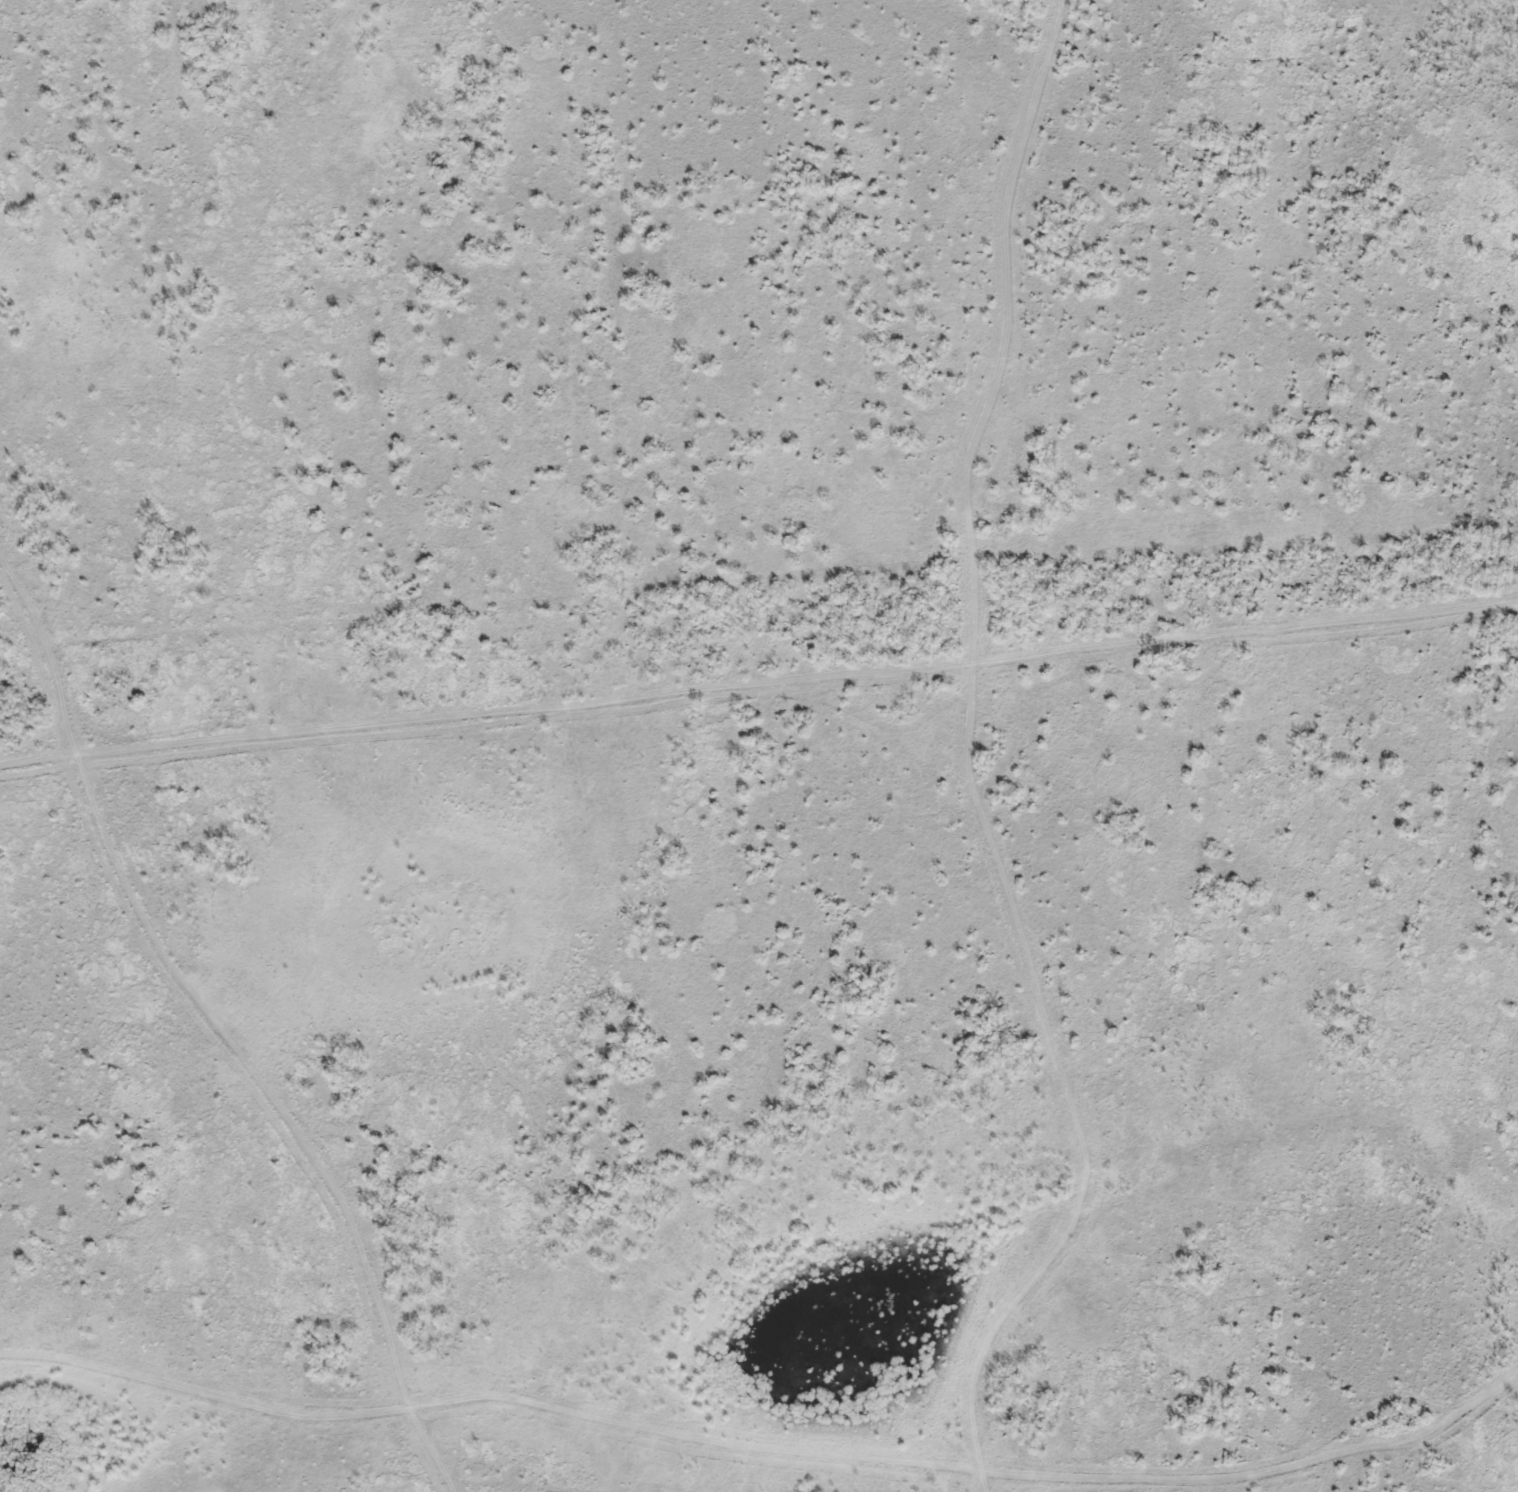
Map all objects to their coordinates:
road: (236, 1012)

